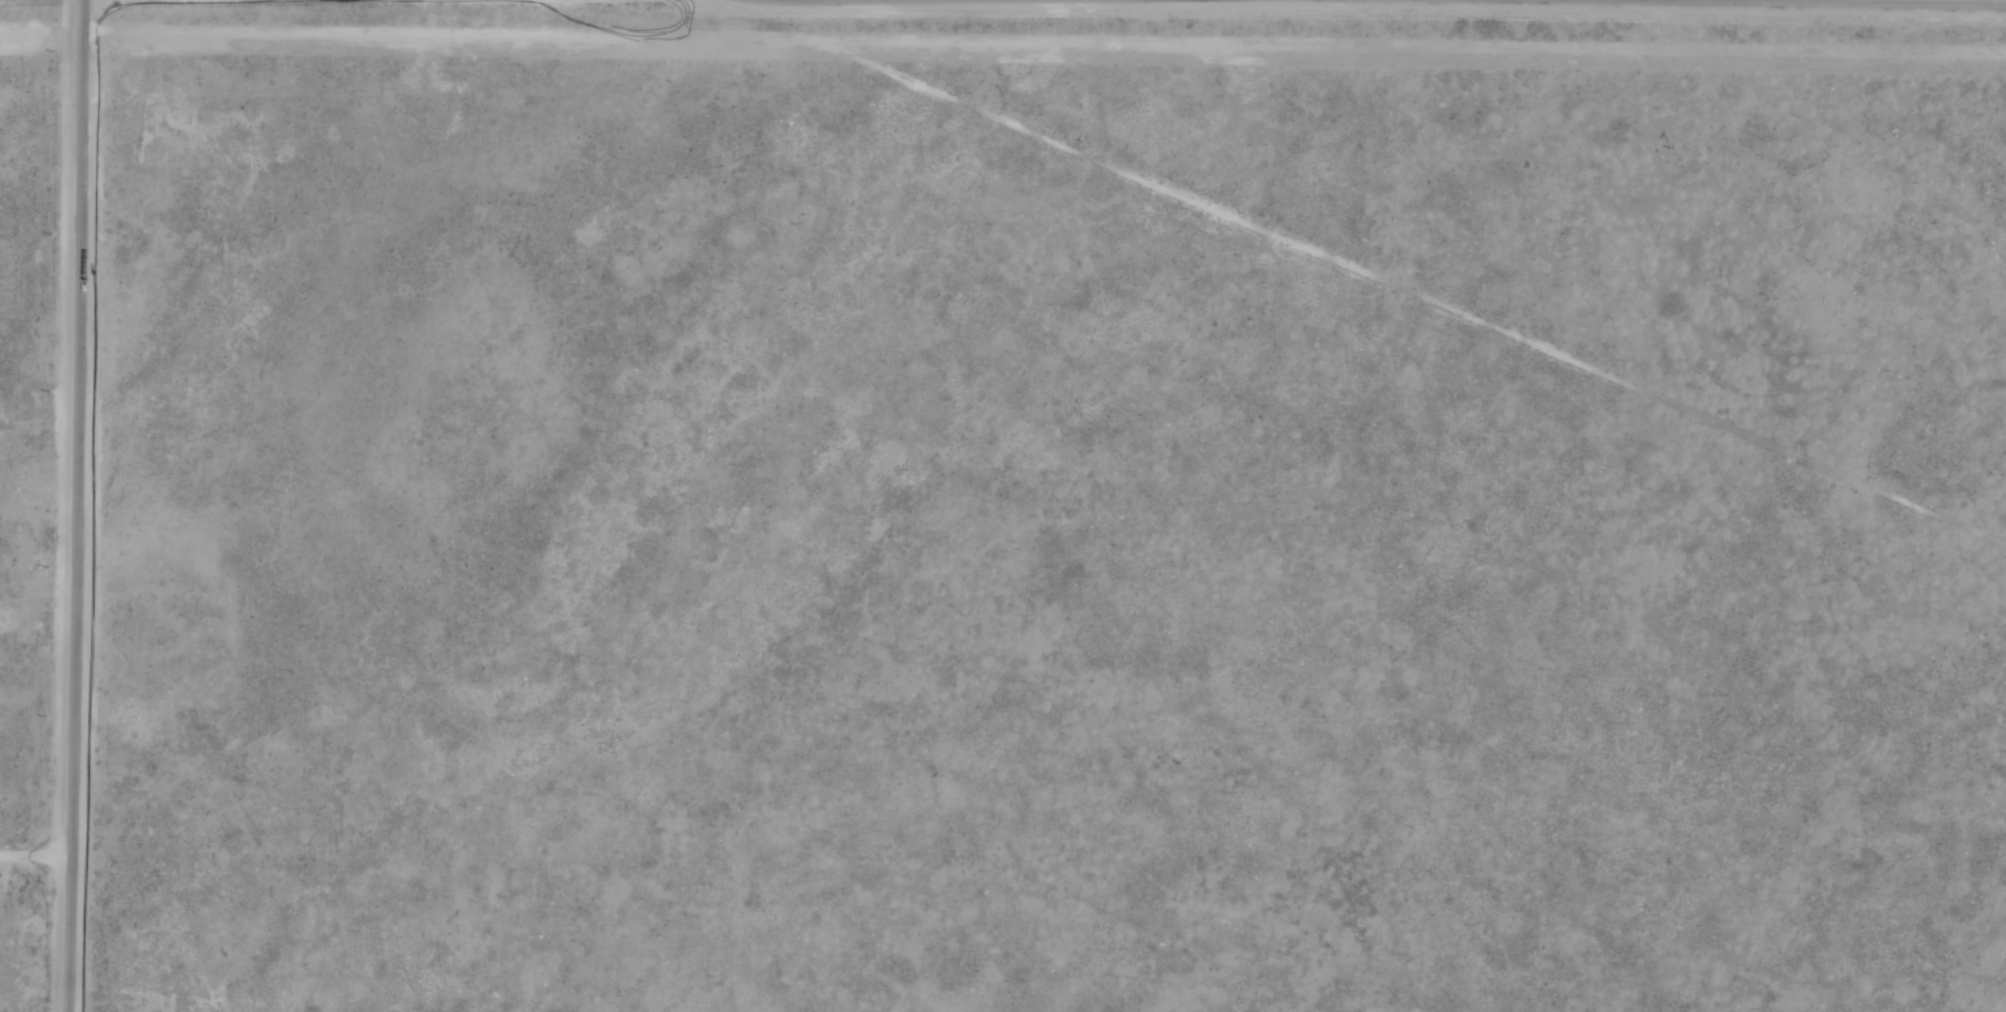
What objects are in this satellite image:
road: (419, 3)
road: (1203, 3)
road: (1377, 7)
road: (76, 506)

